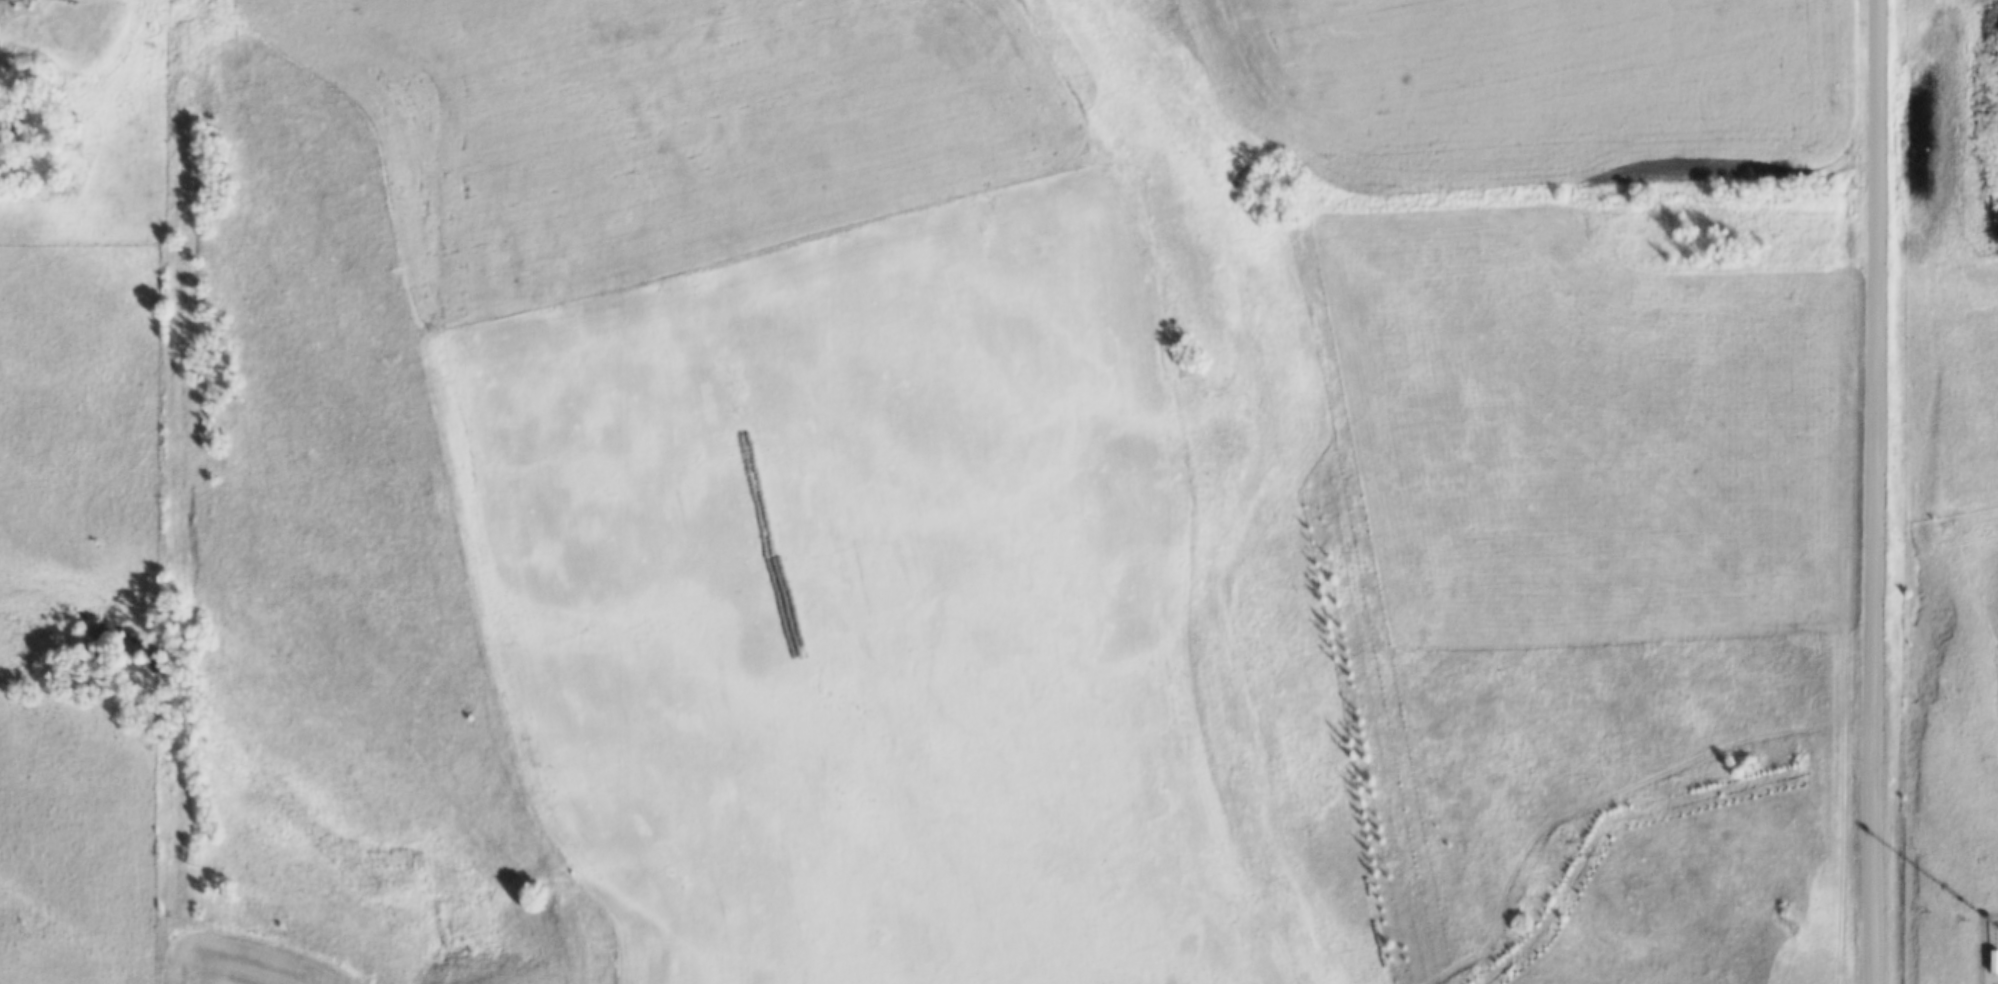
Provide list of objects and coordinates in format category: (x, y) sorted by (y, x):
road: (1880, 491)
building: (1995, 953)

